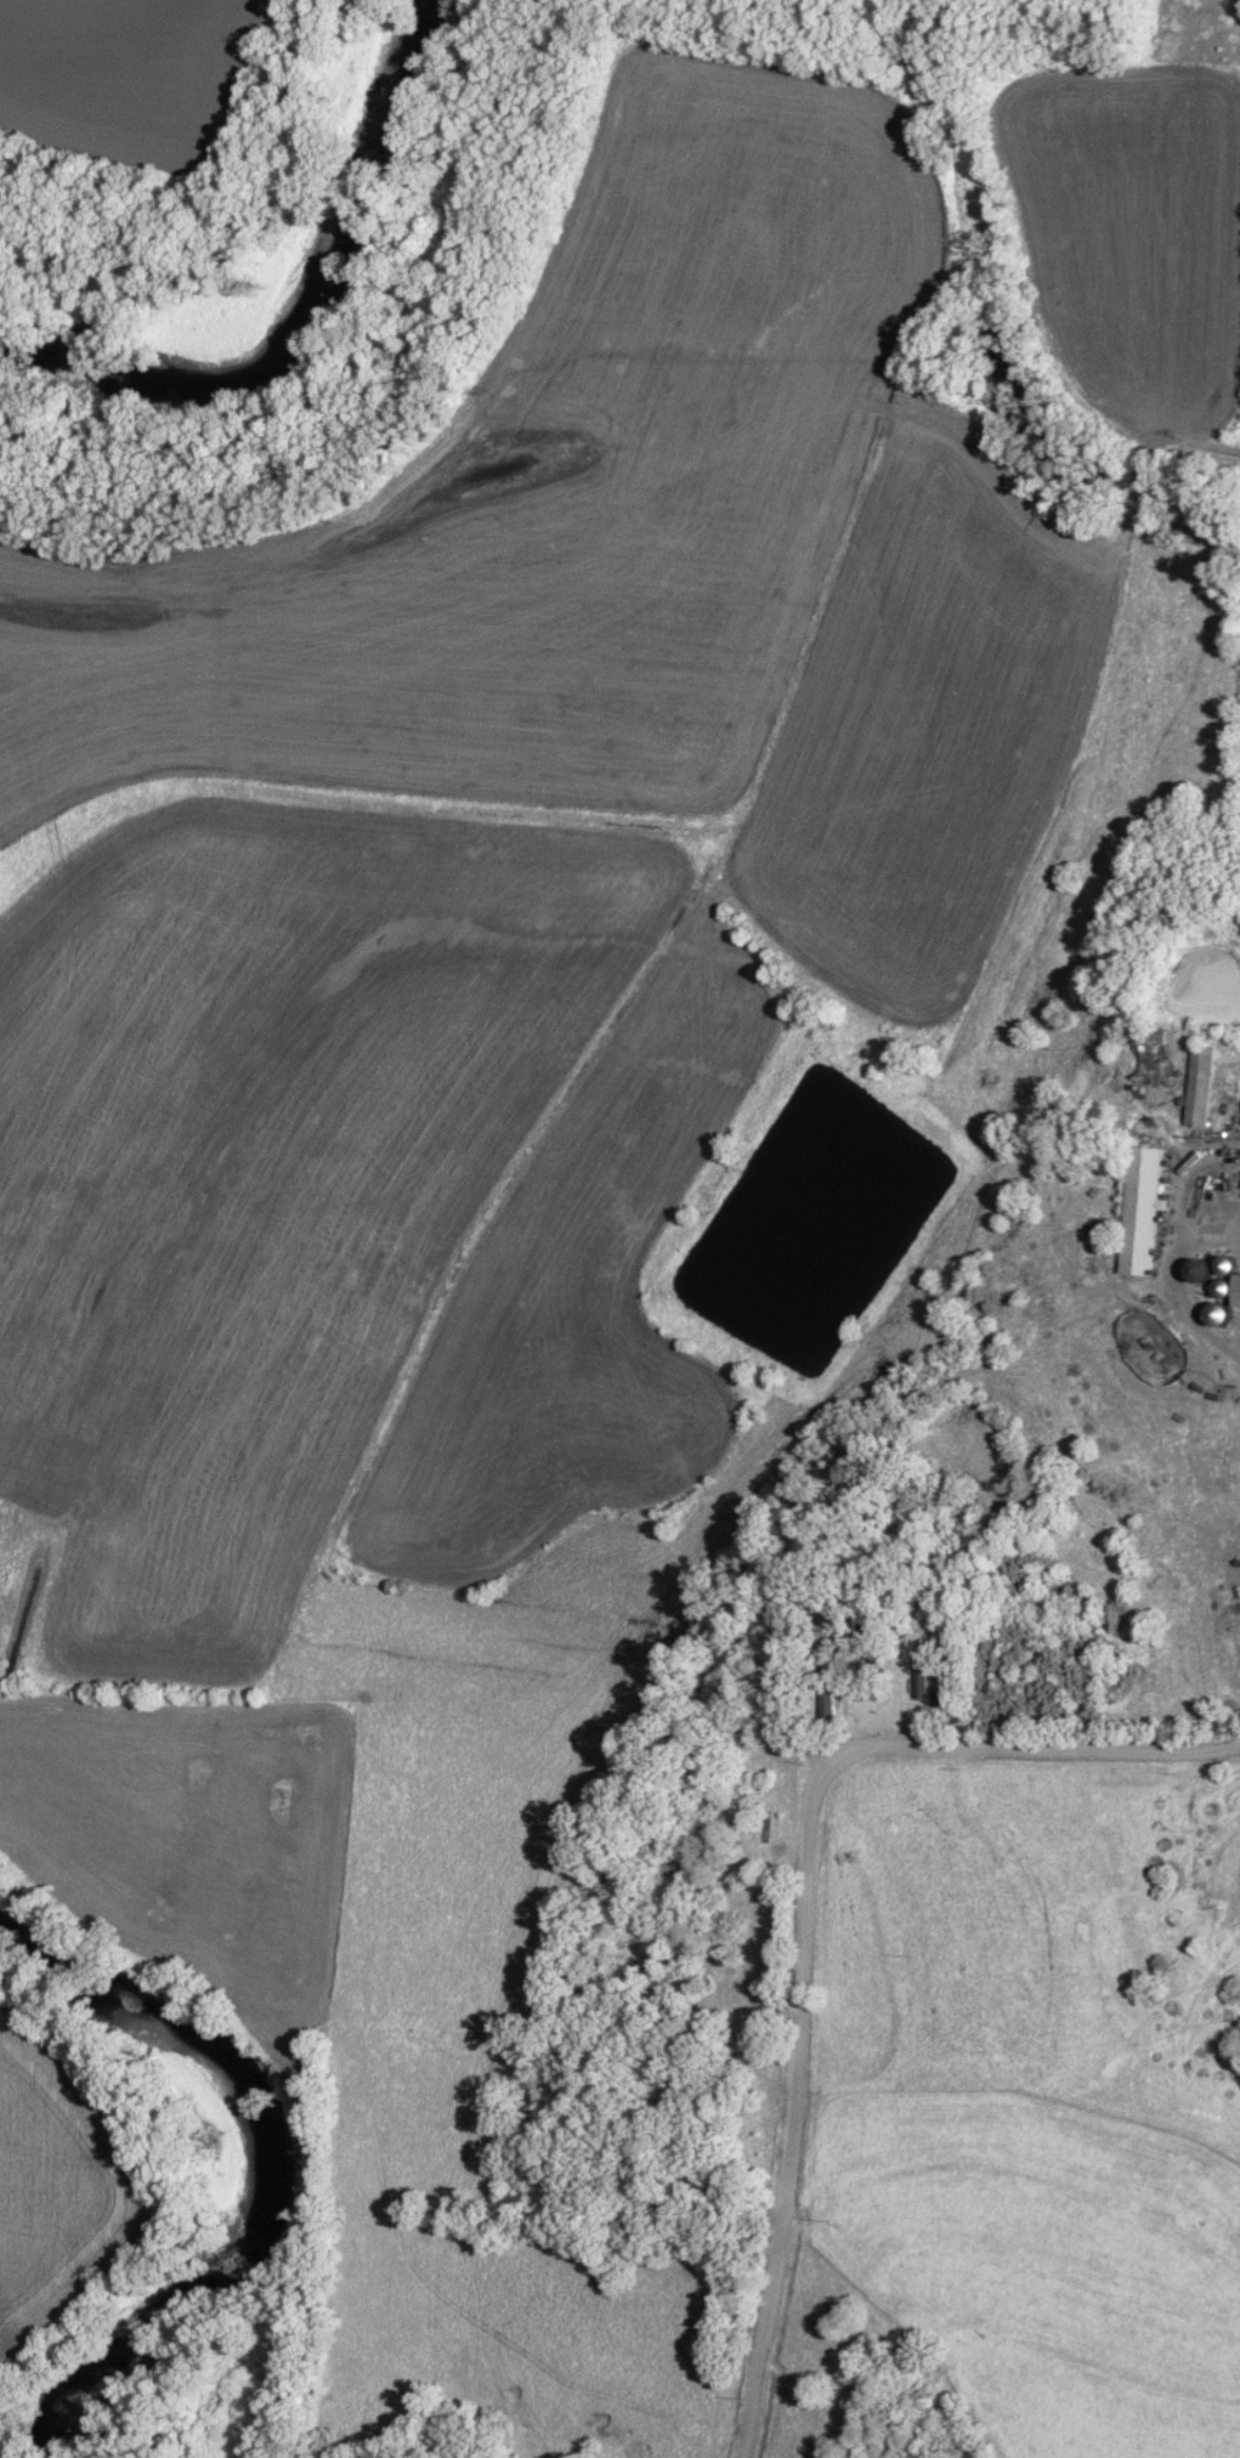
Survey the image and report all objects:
river: (302, 327)
building: (1143, 1060)
building: (1196, 1086)
building: (1138, 1210)
road: (1171, 1245)
building: (893, 1681)
road: (806, 1905)
river: (254, 2168)

